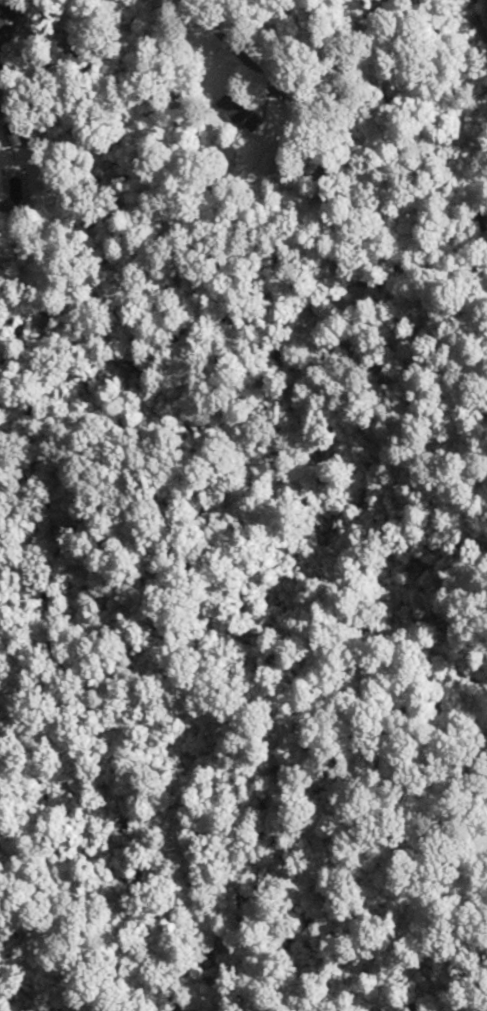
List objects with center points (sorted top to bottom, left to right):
building: (3, 21)
building: (233, 108)

